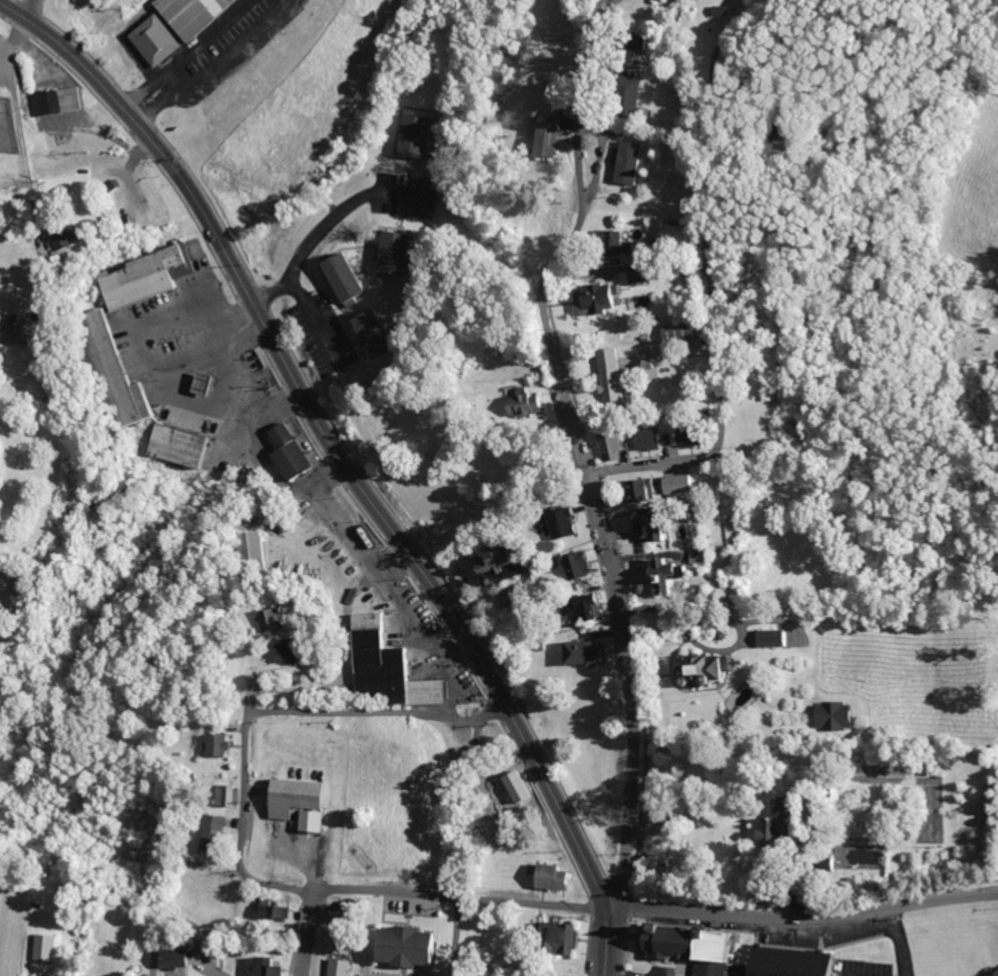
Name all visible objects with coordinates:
building: (655, 0)
road: (753, 2)
building: (192, 14)
building: (154, 39)
building: (70, 95)
building: (46, 103)
road: (15, 107)
power substation: (8, 126)
building: (413, 135)
building: (550, 136)
building: (632, 162)
building: (612, 236)
building: (396, 254)
road: (628, 270)
building: (142, 276)
building: (349, 277)
building: (638, 277)
road: (708, 286)
building: (598, 299)
building: (674, 332)
building: (378, 334)
building: (647, 367)
building: (109, 369)
building: (606, 373)
gas station: (203, 383)
building: (519, 402)
building: (643, 439)
building: (178, 445)
building: (606, 445)
road: (581, 450)
building: (288, 452)
road: (343, 465)
building: (671, 483)
building: (630, 489)
building: (556, 522)
building: (650, 530)
building: (249, 551)
building: (478, 560)
building: (571, 564)
building: (660, 574)
building: (578, 606)
building: (270, 620)
building: (769, 637)
building: (576, 651)
building: (291, 653)
building: (386, 665)
building: (700, 667)
road: (361, 711)
road: (489, 711)
building: (830, 715)
building: (213, 744)
road: (242, 783)
building: (515, 785)
building: (222, 795)
building: (294, 802)
road: (461, 807)
building: (207, 826)
building: (763, 826)
building: (820, 861)
building: (549, 877)
road: (272, 886)
road: (455, 897)
building: (267, 909)
road: (802, 913)
road: (302, 932)
road: (451, 936)
building: (558, 937)
road: (898, 937)
building: (47, 946)
building: (406, 947)
building: (732, 953)
building: (167, 957)
building: (259, 967)
building: (337, 967)
road: (622, 968)
building: (371, 975)
building: (378, 975)

